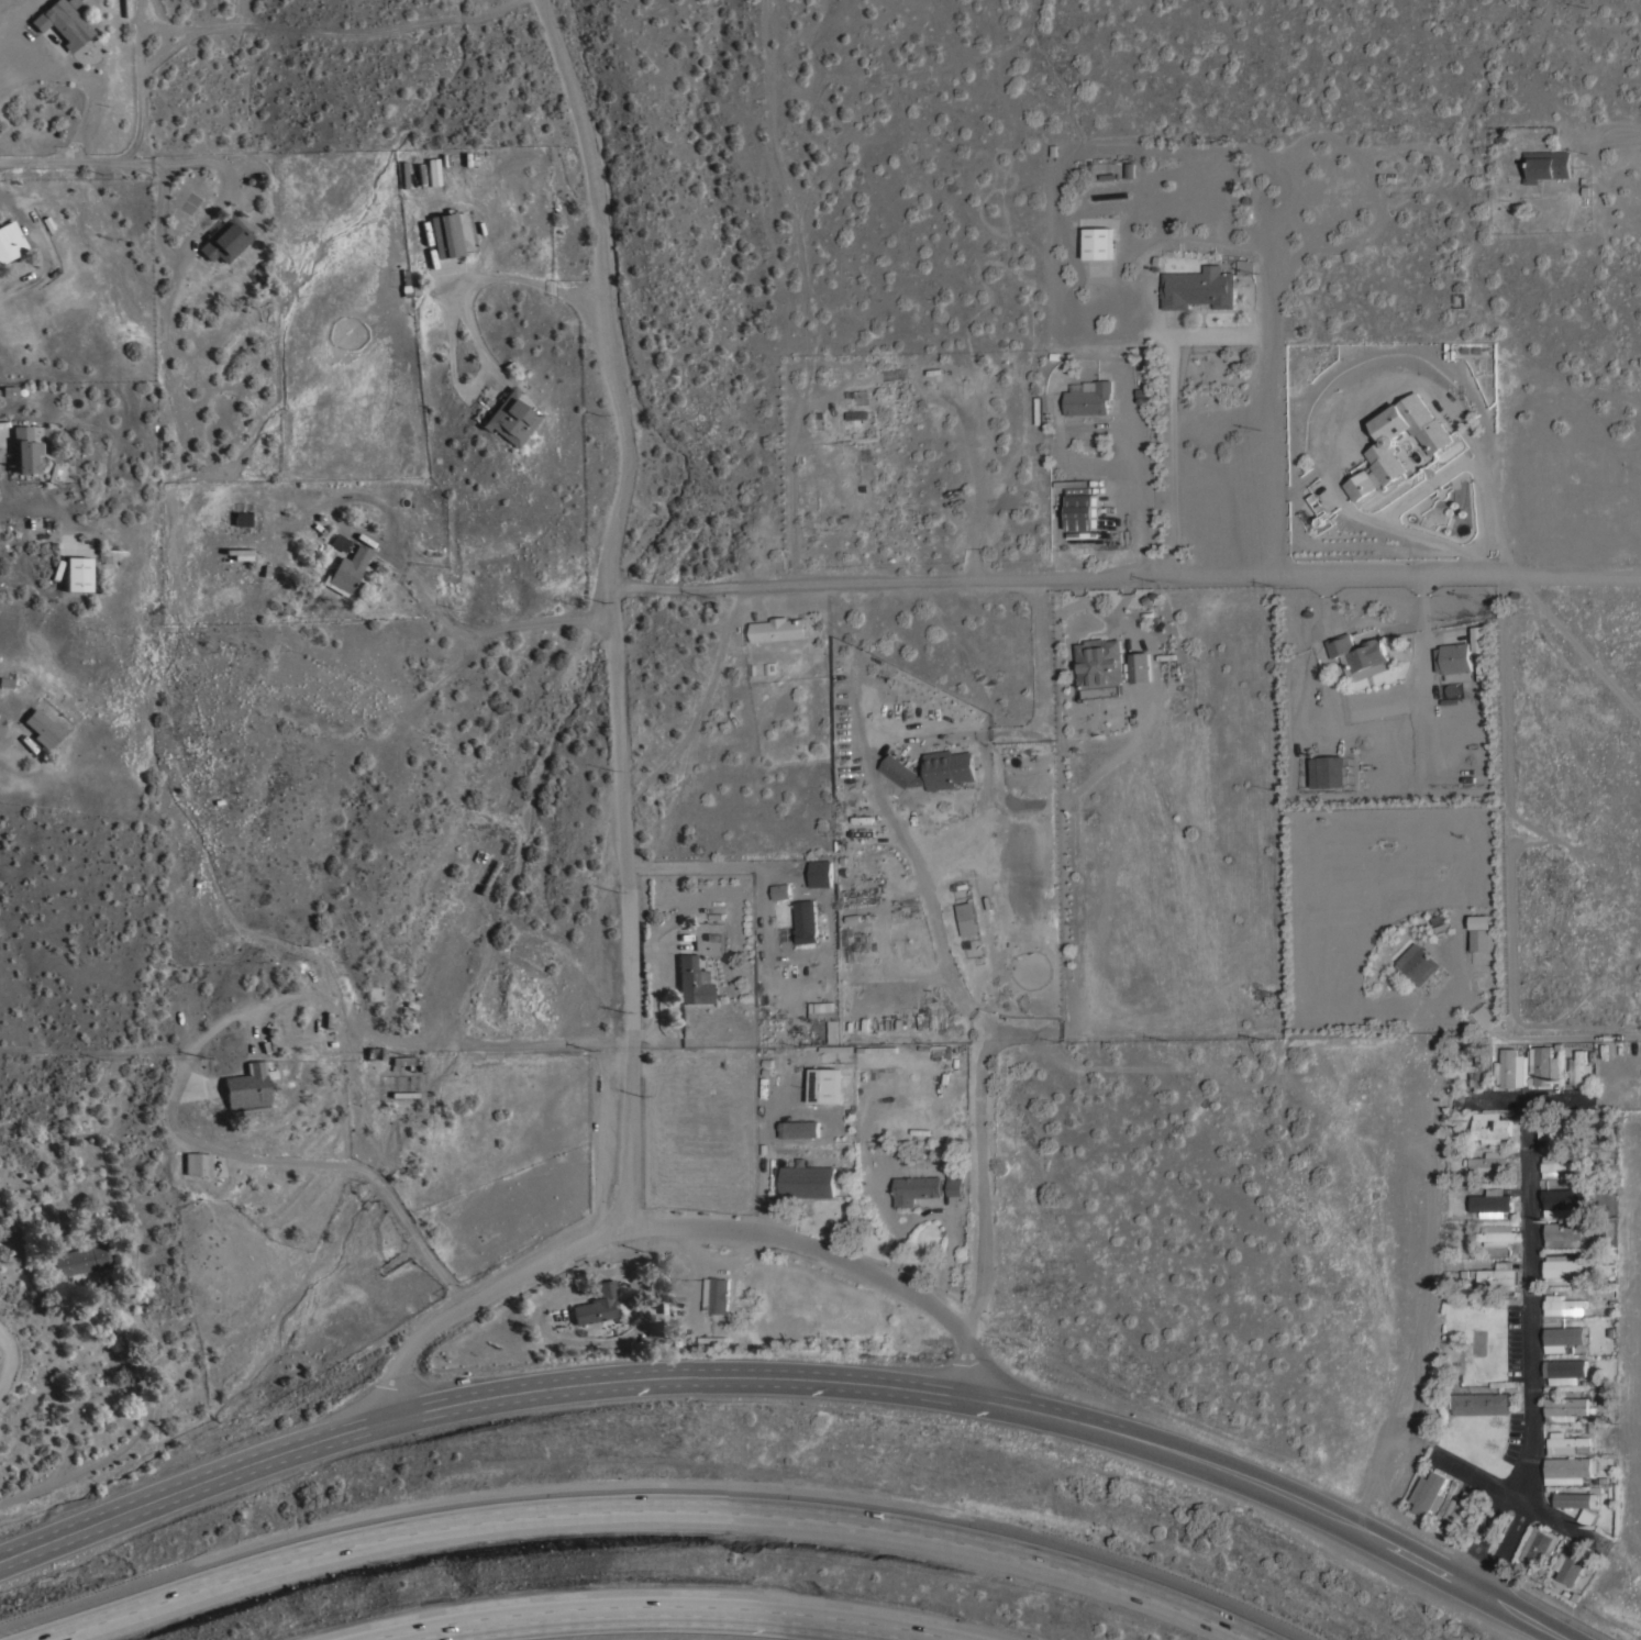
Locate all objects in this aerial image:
road: (317, 21)
building: (63, 22)
road: (15, 74)
road: (138, 81)
road: (1619, 134)
building: (1545, 164)
road: (71, 165)
building: (430, 171)
building: (445, 235)
building: (225, 240)
building: (10, 241)
building: (1094, 243)
building: (1244, 266)
building: (1199, 287)
road: (447, 315)
building: (9, 391)
building: (1088, 397)
building: (509, 419)
building: (1386, 446)
building: (24, 450)
road: (1174, 452)
road: (1144, 491)
road: (1422, 492)
building: (1082, 511)
building: (242, 519)
building: (339, 542)
building: (110, 552)
building: (347, 570)
building: (77, 574)
road: (1122, 576)
road: (606, 608)
road: (463, 628)
building: (779, 629)
building: (1478, 639)
building: (1359, 655)
building: (1454, 660)
building: (1099, 662)
building: (1140, 667)
building: (42, 728)
building: (933, 769)
building: (1326, 772)
building: (484, 856)
building: (490, 858)
road: (723, 865)
building: (821, 872)
building: (781, 890)
building: (964, 918)
building: (807, 921)
building: (1481, 921)
building: (1481, 939)
road: (946, 953)
building: (1417, 962)
building: (692, 982)
building: (820, 1011)
road: (195, 1050)
building: (940, 1050)
building: (375, 1052)
building: (403, 1061)
building: (1543, 1064)
building: (1479, 1067)
building: (1511, 1067)
building: (1579, 1068)
building: (824, 1084)
building: (247, 1087)
road: (1524, 1100)
building: (1490, 1127)
building: (1556, 1132)
building: (1488, 1160)
building: (197, 1163)
building: (1557, 1165)
building: (808, 1181)
building: (955, 1182)
building: (916, 1188)
building: (1492, 1201)
building: (1559, 1203)
road: (673, 1226)
building: (1563, 1232)
building: (1495, 1233)
building: (79, 1260)
building: (1562, 1267)
building: (1499, 1275)
building: (717, 1294)
building: (596, 1304)
building: (1565, 1305)
building: (712, 1338)
building: (1562, 1340)
road: (1527, 1353)
road: (1, 1359)
building: (1564, 1370)
road: (791, 1375)
building: (1481, 1403)
building: (1565, 1407)
road: (134, 1433)
building: (1567, 1441)
building: (1568, 1469)
building: (1429, 1492)
road: (1518, 1499)
building: (1576, 1499)
road: (650, 1502)
building: (1462, 1508)
building: (1587, 1517)
building: (1539, 1544)
building: (1571, 1563)
road: (665, 1604)

